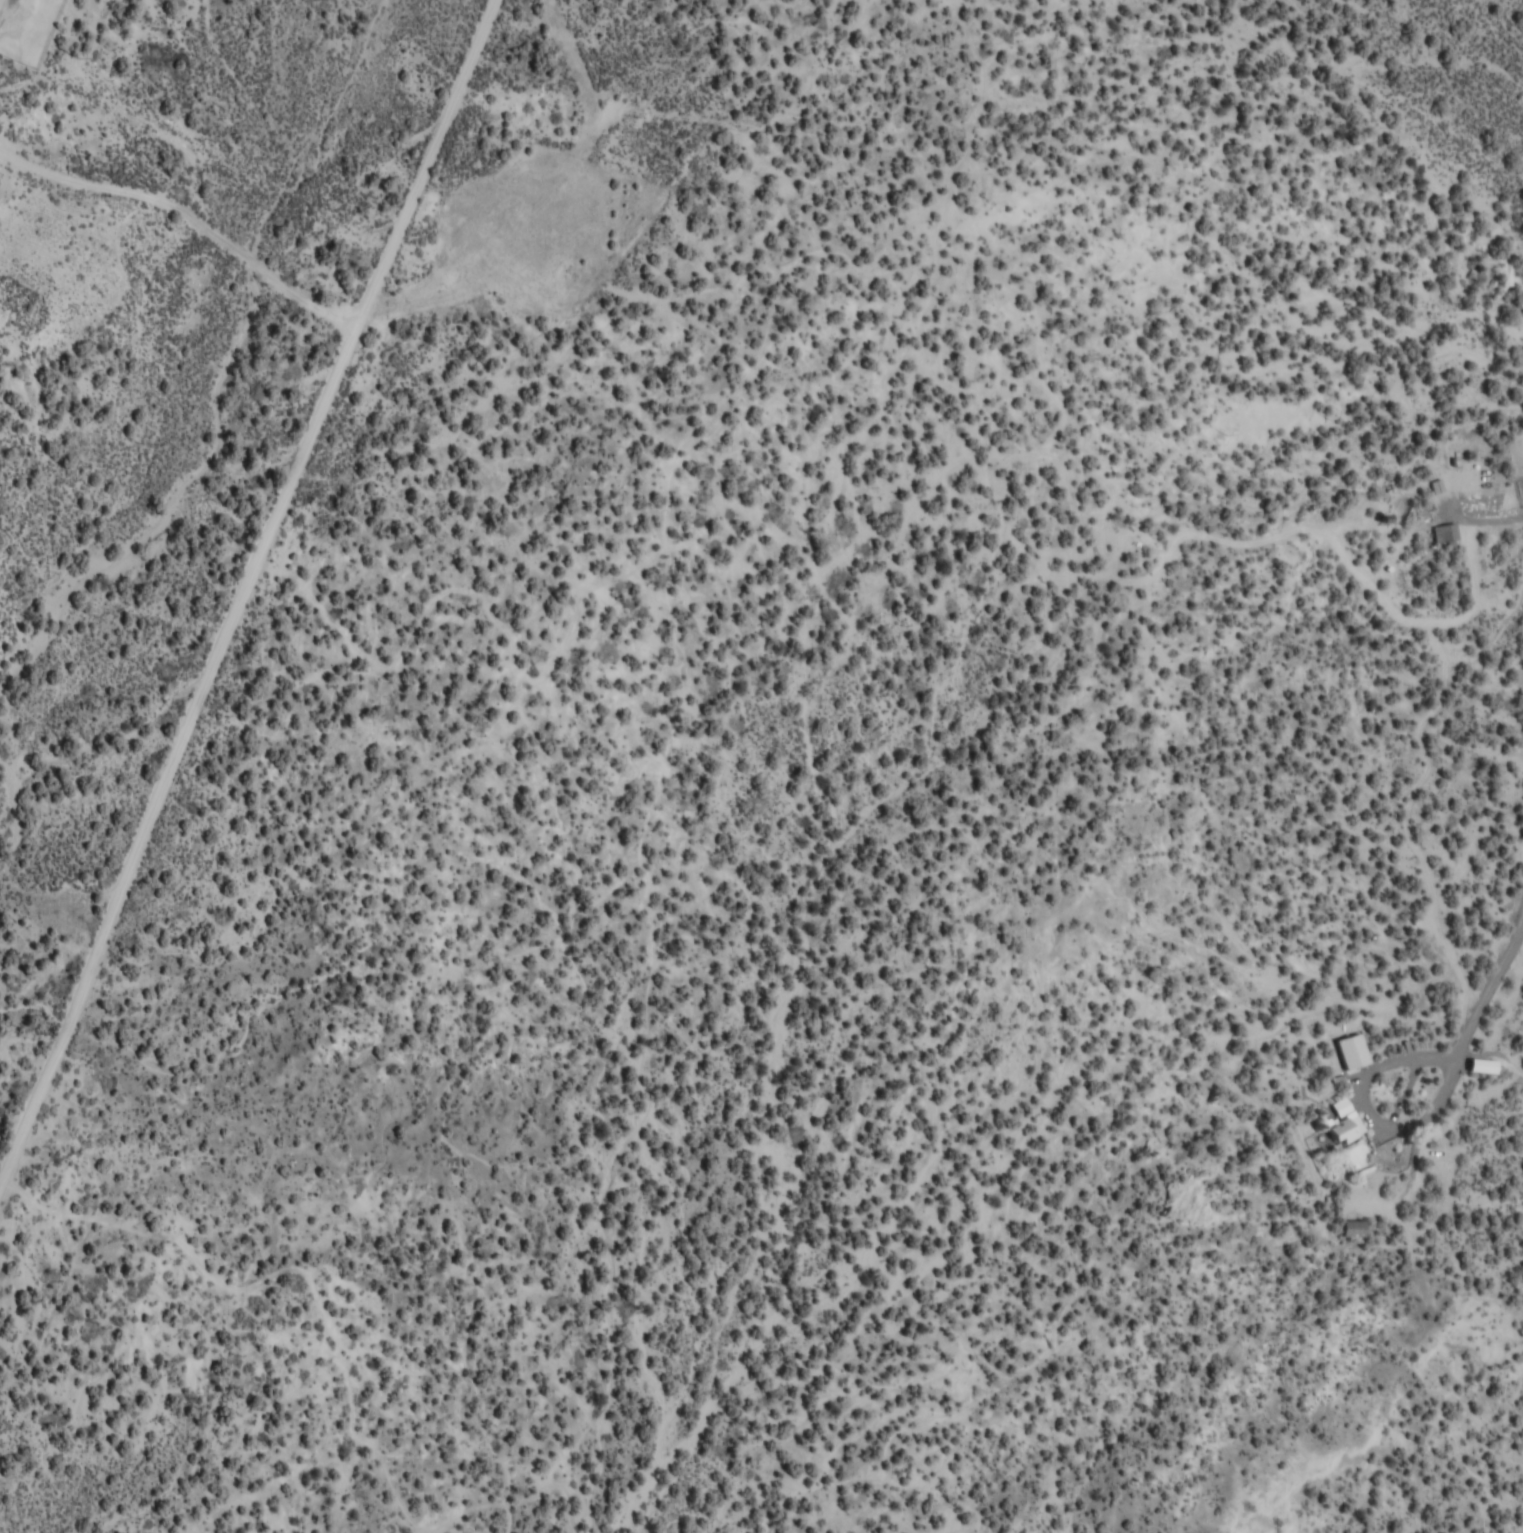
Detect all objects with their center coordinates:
road: (378, 310)
building: (1466, 481)
building: (1117, 532)
building: (1448, 538)
road: (238, 585)
road: (1334, 592)
building: (1348, 1132)

